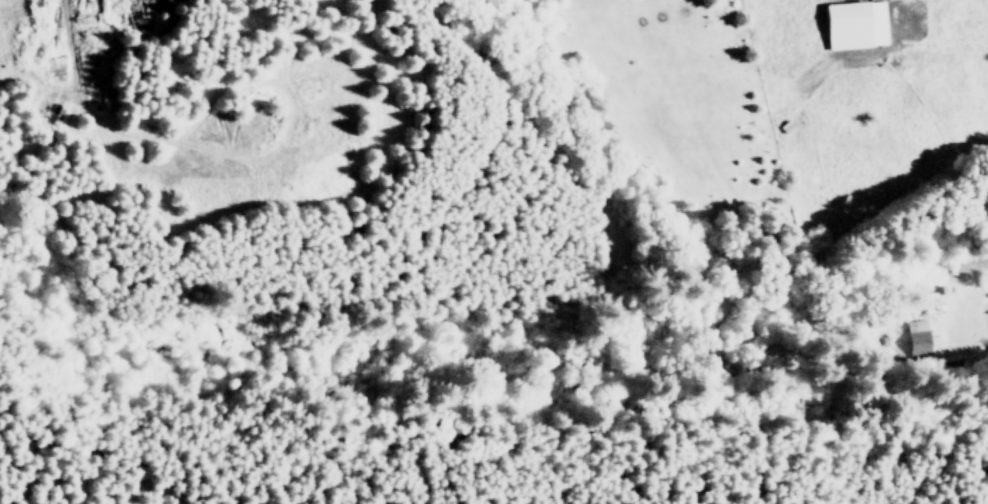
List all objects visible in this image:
building: (854, 24)
building: (919, 336)

